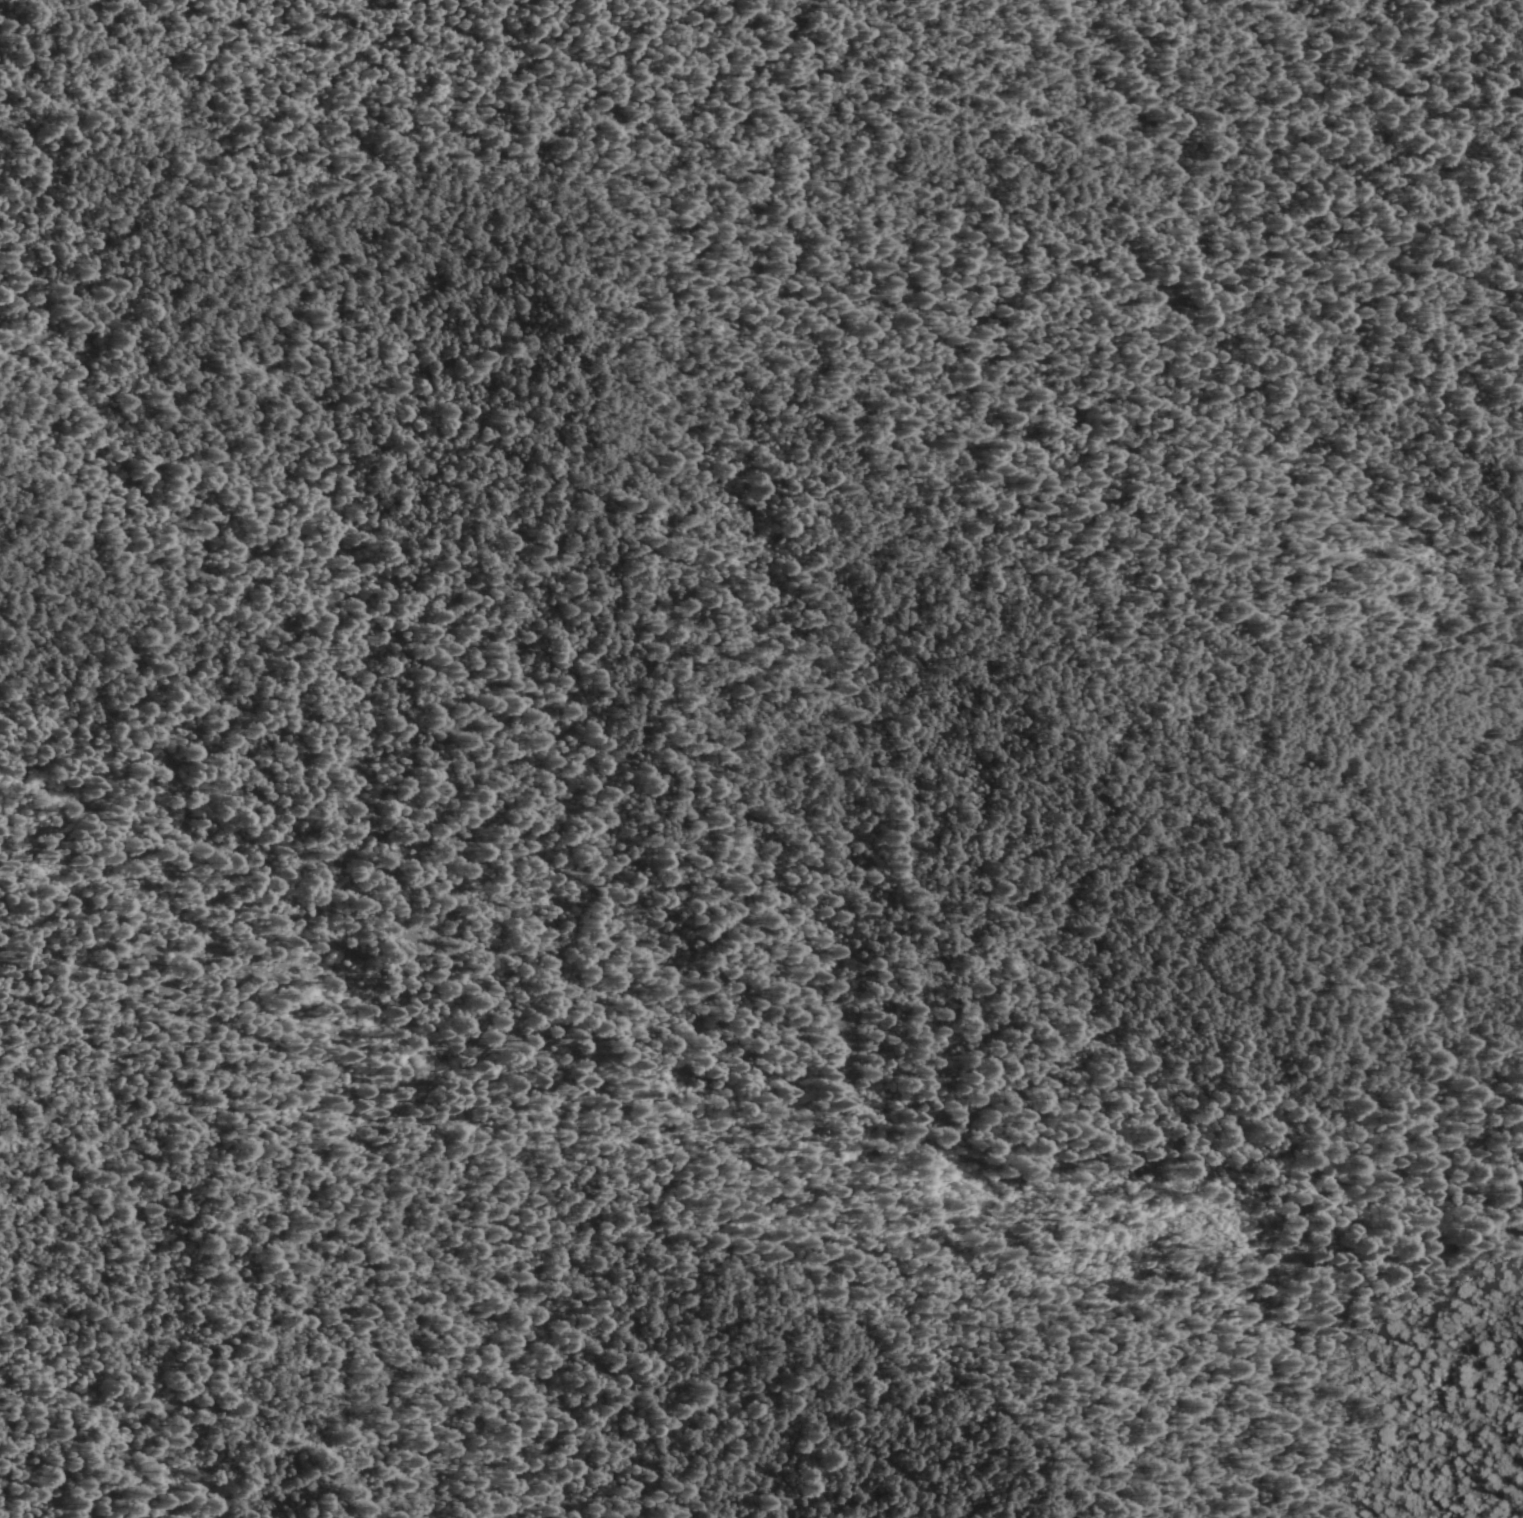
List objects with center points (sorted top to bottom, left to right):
road: (511, 769)
road: (455, 1047)
road: (1009, 1155)

